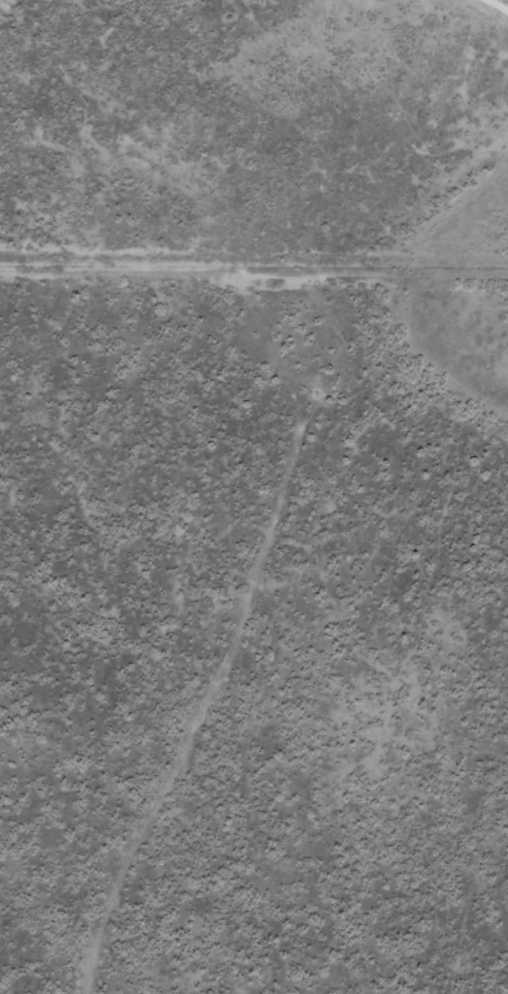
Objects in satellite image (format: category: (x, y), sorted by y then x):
road: (435, 24)
road: (292, 263)

